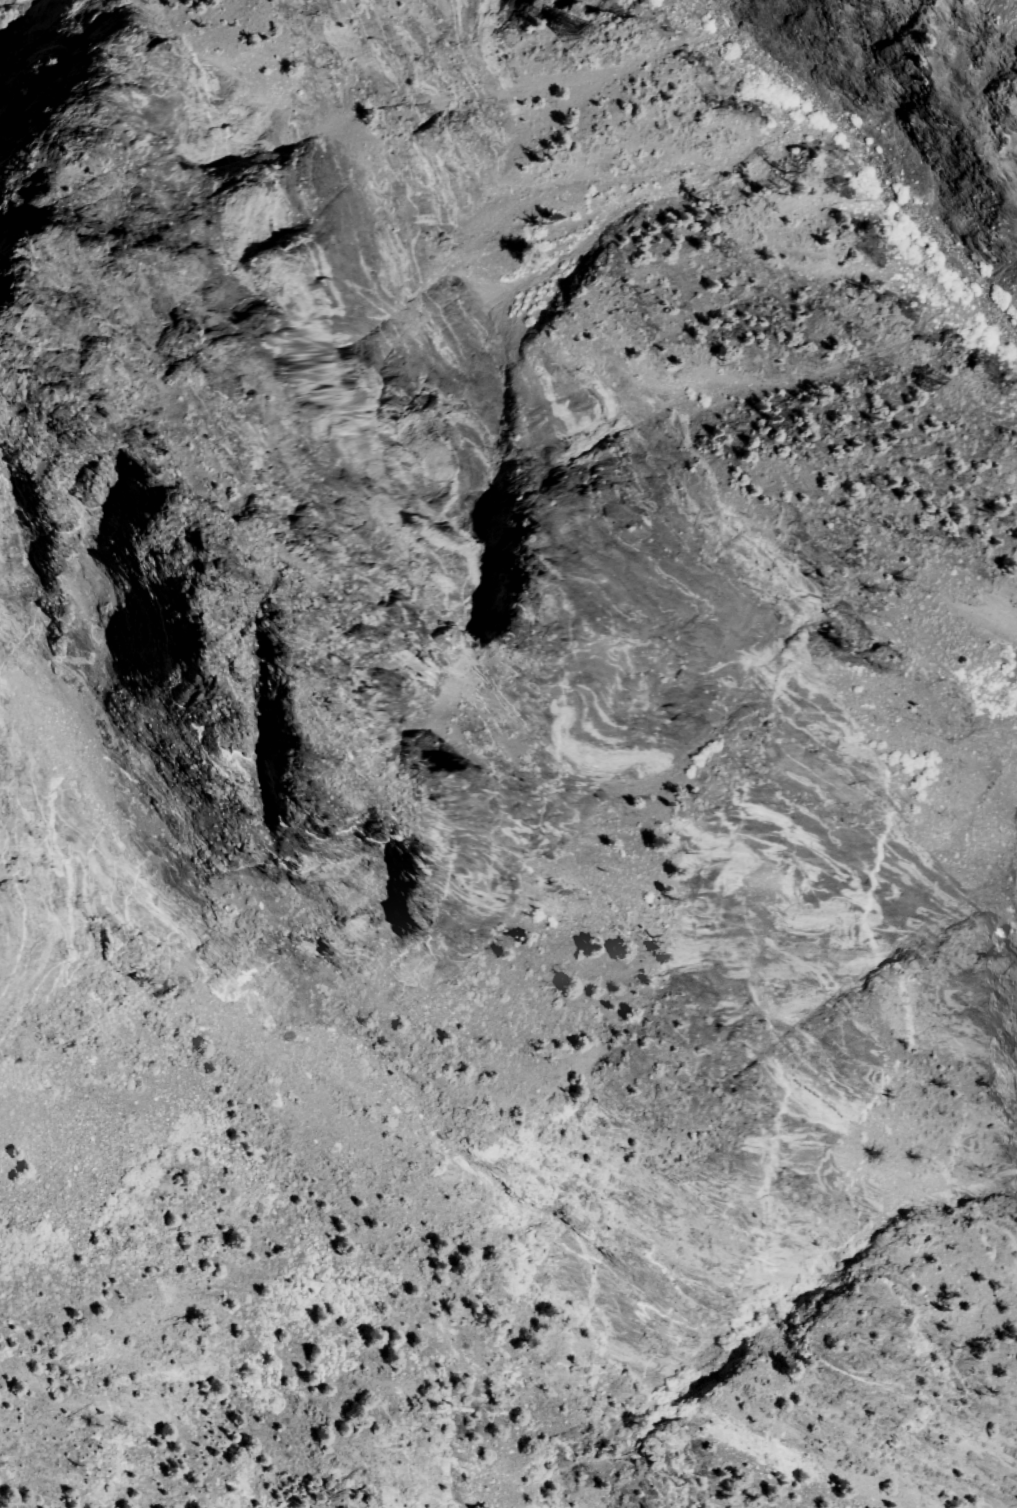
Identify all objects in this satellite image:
aerialway pylon: (567, 30)
aerialway pylon: (921, 381)

